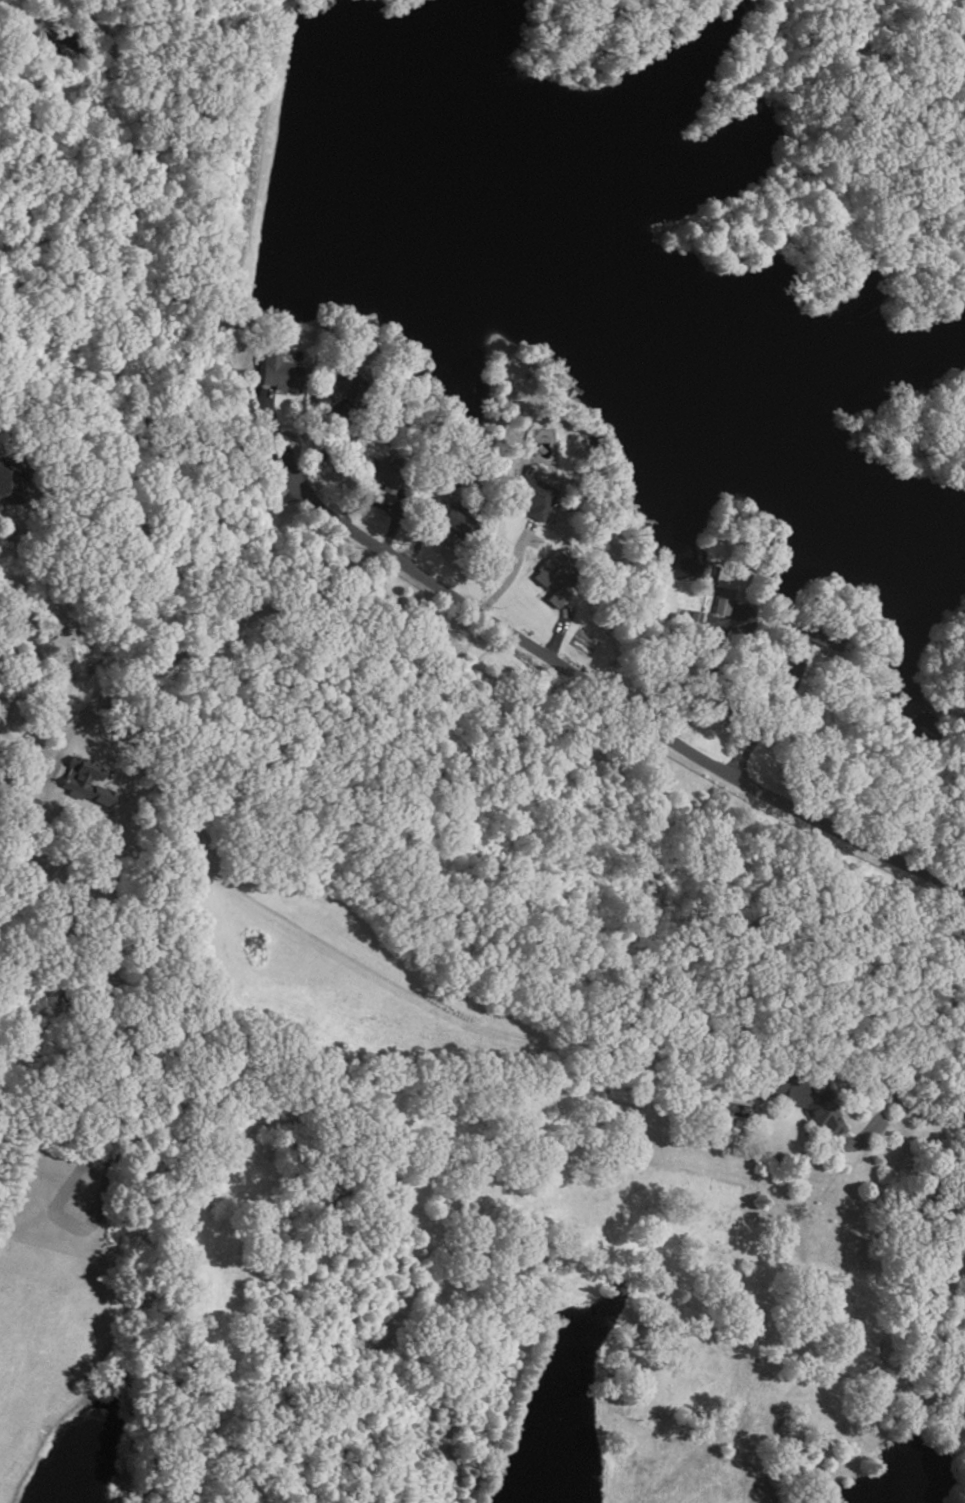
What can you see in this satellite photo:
building: (278, 373)
building: (336, 390)
road: (267, 414)
road: (325, 449)
building: (383, 476)
building: (9, 480)
building: (535, 498)
road: (381, 506)
road: (144, 522)
road: (390, 523)
building: (459, 523)
road: (417, 540)
road: (508, 574)
building: (555, 577)
building: (730, 586)
road: (556, 633)
building: (818, 635)
road: (605, 696)
road: (721, 696)
road: (744, 751)
building: (84, 781)
building: (807, 1101)
road: (922, 1119)

